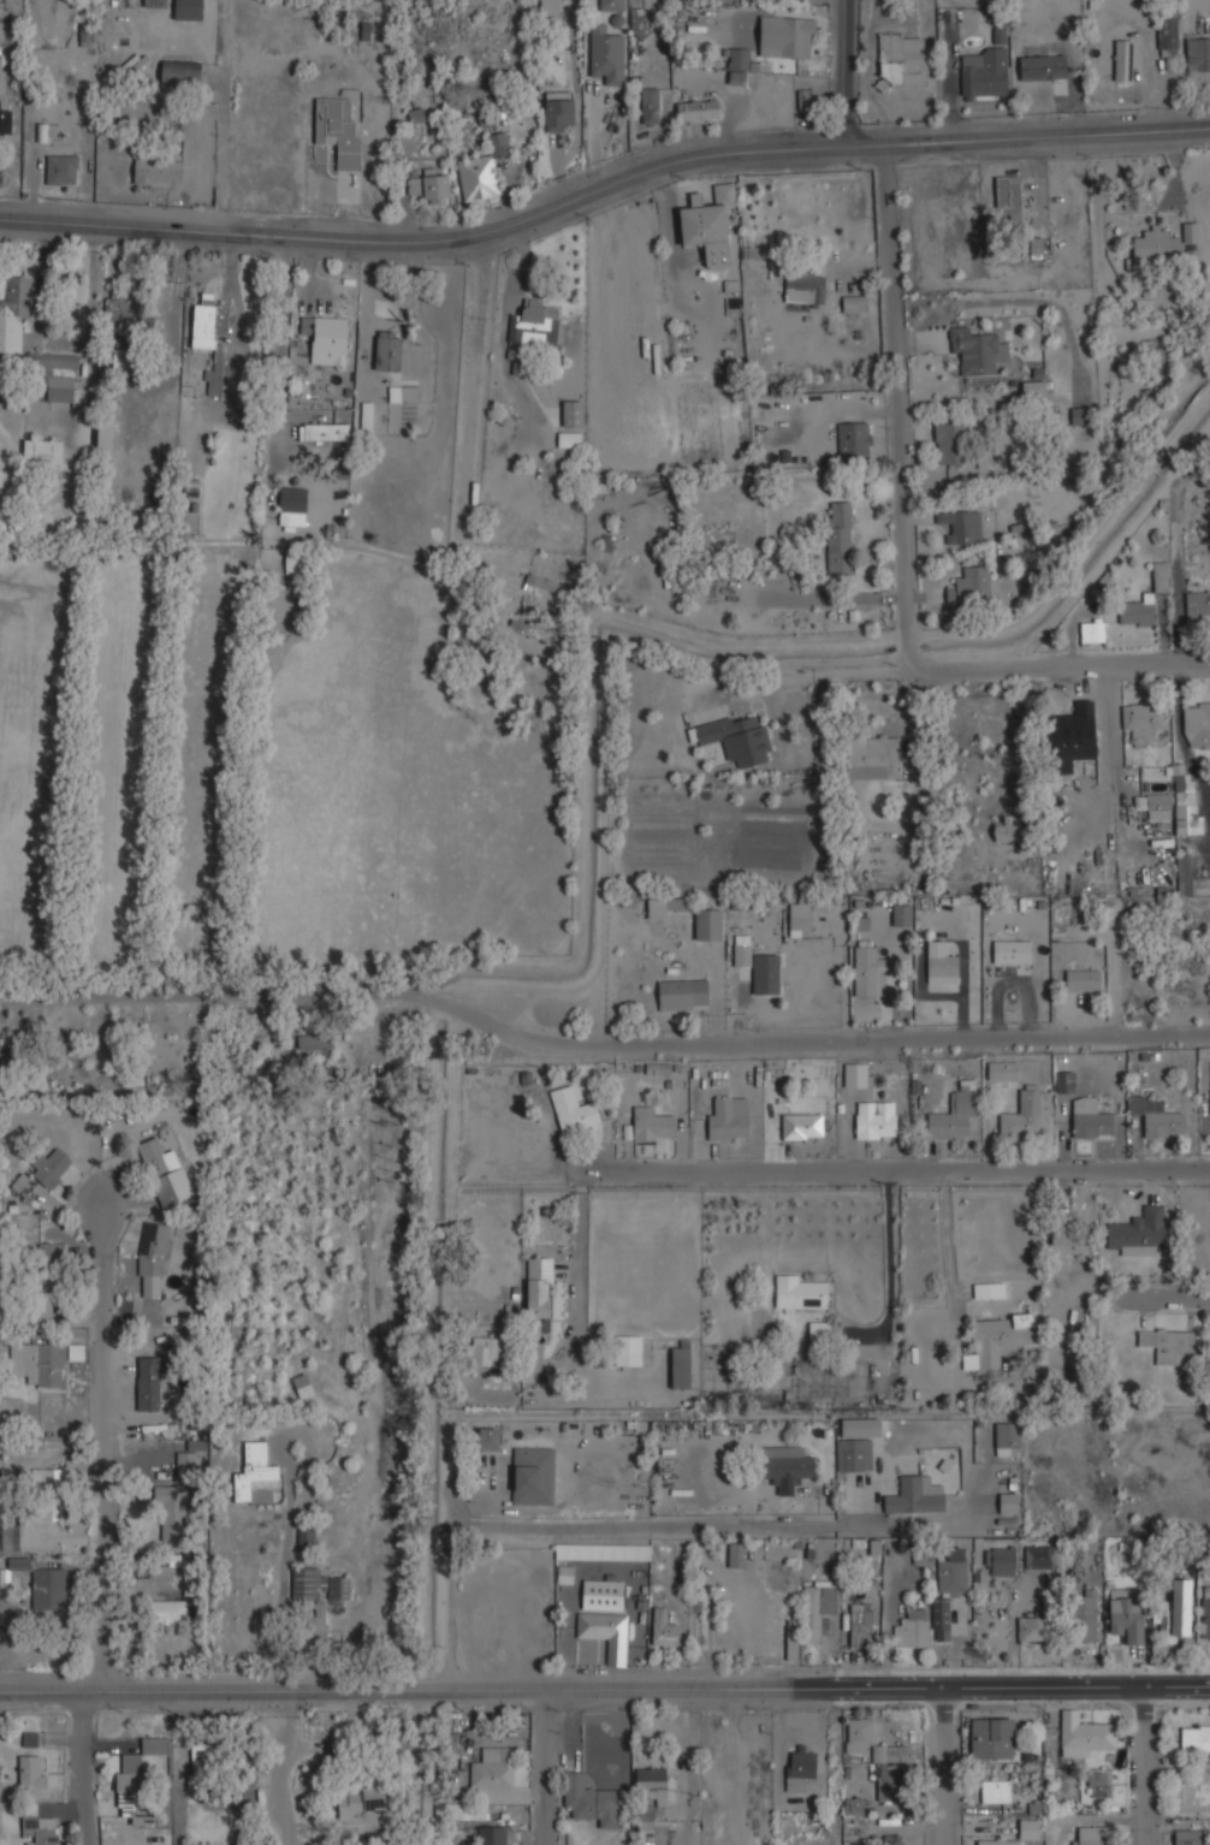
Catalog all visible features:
building: (154, 4)
building: (612, 5)
building: (550, 7)
building: (189, 10)
building: (1168, 34)
building: (998, 35)
building: (787, 36)
building: (1198, 53)
building: (606, 55)
building: (739, 58)
building: (902, 59)
building: (1123, 60)
building: (180, 72)
building: (985, 72)
road: (848, 73)
building: (1048, 88)
building: (806, 99)
building: (651, 105)
building: (699, 109)
building: (560, 111)
building: (416, 115)
building: (6, 121)
building: (338, 127)
road: (220, 156)
building: (61, 168)
building: (482, 171)
building: (158, 172)
building: (432, 184)
road: (603, 192)
building: (1008, 195)
building: (708, 225)
building: (1036, 245)
building: (1157, 245)
building: (1151, 287)
building: (805, 290)
road: (235, 297)
building: (854, 303)
building: (13, 313)
building: (118, 315)
building: (207, 321)
building: (533, 324)
road: (284, 336)
building: (326, 339)
building: (387, 350)
building: (978, 350)
building: (1162, 362)
building: (51, 379)
building: (1033, 387)
building: (403, 393)
road: (474, 404)
road: (900, 410)
building: (571, 414)
building: (1080, 416)
building: (366, 417)
building: (324, 432)
building: (103, 433)
building: (569, 439)
building: (853, 440)
building: (950, 444)
building: (41, 451)
building: (292, 505)
building: (962, 524)
building: (838, 539)
building: (1159, 576)
building: (706, 585)
building: (973, 586)
building: (1198, 604)
building: (1137, 611)
building: (1093, 630)
building: (533, 631)
road: (1060, 664)
building: (1143, 719)
building: (1197, 724)
building: (1073, 732)
building: (739, 738)
building: (874, 758)
building: (1187, 803)
building: (1156, 805)
building: (1007, 827)
building: (1185, 874)
building: (664, 906)
building: (902, 914)
building: (802, 915)
building: (708, 924)
building: (1012, 951)
building: (941, 965)
building: (760, 968)
building: (865, 971)
building: (683, 995)
road: (599, 1044)
building: (316, 1045)
building: (1002, 1070)
building: (856, 1075)
building: (1066, 1082)
building: (574, 1110)
building: (1024, 1114)
building: (954, 1116)
building: (1157, 1117)
building: (729, 1119)
building: (1090, 1119)
building: (876, 1121)
building: (652, 1125)
building: (803, 1127)
building: (49, 1165)
road: (888, 1167)
building: (164, 1171)
building: (1138, 1232)
building: (1068, 1236)
building: (51, 1251)
building: (154, 1257)
road: (891, 1263)
building: (540, 1287)
building: (990, 1291)
road: (576, 1293)
road: (1164, 1293)
building: (800, 1294)
building: (41, 1301)
building: (819, 1330)
building: (1000, 1340)
building: (1169, 1345)
building: (488, 1351)
building: (628, 1351)
building: (75, 1352)
building: (37, 1363)
building: (682, 1368)
building: (149, 1382)
building: (303, 1387)
building: (488, 1438)
building: (1008, 1438)
road: (108, 1440)
building: (195, 1446)
building: (854, 1454)
building: (185, 1463)
building: (785, 1470)
building: (254, 1471)
building: (534, 1476)
building: (47, 1494)
building: (915, 1496)
building: (1008, 1503)
building: (170, 1513)
road: (290, 1526)
road: (550, 1526)
building: (10, 1536)
building: (307, 1536)
building: (737, 1555)
building: (1039, 1556)
building: (594, 1558)
building: (1004, 1561)
building: (316, 1584)
building: (48, 1588)
building: (948, 1591)
building: (603, 1595)
building: (1181, 1607)
building: (166, 1610)
building: (1206, 1612)
building: (1085, 1616)
building: (808, 1619)
building: (1163, 1620)
building: (1127, 1625)
building: (861, 1626)
building: (316, 1627)
building: (912, 1627)
building: (664, 1630)
building: (1030, 1631)
building: (606, 1633)
road: (605, 1689)
building: (1084, 1734)
building: (993, 1738)
building: (1196, 1738)
building: (871, 1740)
building: (207, 1764)
building: (245, 1764)
road: (1144, 1764)
road: (87, 1766)
building: (138, 1766)
road: (947, 1766)
road: (287, 1767)
road: (546, 1767)
building: (493, 1768)
building: (800, 1769)
building: (32, 1772)
building: (657, 1775)
building: (889, 1782)
building: (1099, 1785)
building: (996, 1791)
building: (1194, 1791)
building: (361, 1799)
building: (591, 1800)
building: (856, 1804)
building: (465, 1811)
building: (642, 1817)
building: (41, 1829)
building: (496, 1835)
building: (1095, 1835)
building: (1192, 1837)
building: (894, 1840)
building: (1002, 1843)

